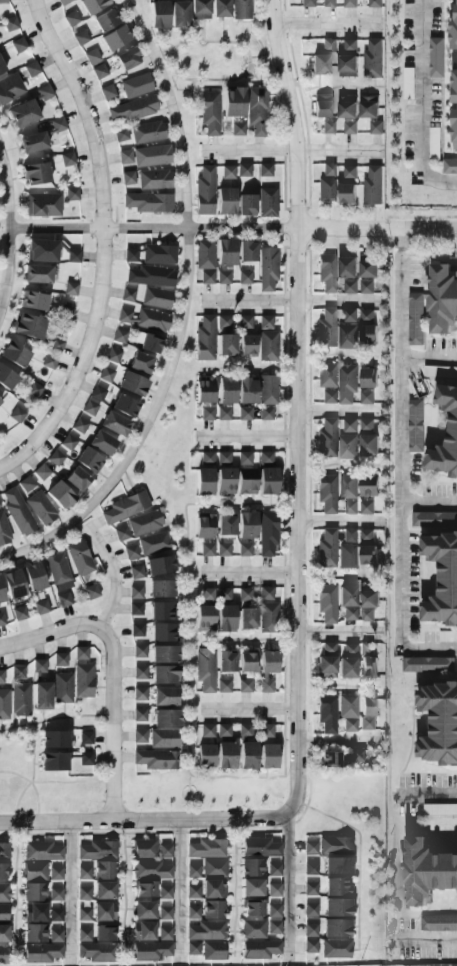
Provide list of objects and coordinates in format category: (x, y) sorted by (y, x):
building: (4, 0)
building: (62, 1)
building: (307, 3)
building: (328, 3)
building: (349, 3)
building: (374, 3)
building: (93, 5)
building: (220, 8)
building: (200, 9)
building: (241, 9)
building: (159, 14)
building: (179, 14)
building: (71, 18)
building: (105, 20)
road: (323, 24)
building: (455, 25)
building: (80, 37)
building: (115, 38)
building: (328, 44)
building: (349, 44)
building: (18, 45)
road: (172, 50)
building: (92, 56)
building: (435, 57)
building: (372, 58)
building: (127, 59)
building: (319, 64)
building: (347, 65)
building: (1, 68)
building: (31, 69)
building: (99, 71)
building: (407, 83)
building: (136, 85)
road: (334, 86)
building: (10, 88)
building: (107, 92)
building: (43, 93)
building: (347, 97)
building: (234, 102)
road: (418, 105)
building: (322, 106)
building: (368, 106)
building: (132, 109)
building: (347, 109)
building: (256, 111)
building: (455, 111)
building: (210, 112)
building: (23, 114)
building: (54, 125)
building: (376, 126)
building: (328, 127)
building: (350, 127)
building: (237, 128)
building: (147, 132)
building: (120, 134)
building: (33, 142)
building: (433, 146)
road: (288, 151)
building: (125, 156)
building: (152, 156)
building: (67, 159)
building: (449, 165)
building: (329, 169)
building: (244, 170)
building: (265, 170)
building: (228, 172)
building: (36, 173)
building: (128, 177)
building: (154, 179)
building: (347, 185)
building: (372, 185)
building: (327, 189)
building: (205, 191)
building: (72, 193)
building: (226, 201)
building: (148, 202)
building: (267, 202)
building: (43, 205)
building: (247, 205)
road: (232, 227)
road: (3, 228)
road: (2, 234)
road: (8, 236)
road: (400, 237)
road: (102, 243)
building: (42, 250)
building: (248, 251)
building: (226, 252)
building: (159, 254)
building: (204, 254)
building: (131, 255)
building: (74, 256)
building: (347, 267)
building: (267, 268)
building: (368, 268)
building: (327, 273)
building: (38, 274)
building: (150, 276)
building: (207, 277)
building: (224, 277)
building: (244, 277)
building: (349, 286)
building: (366, 286)
building: (70, 288)
building: (127, 295)
building: (444, 297)
building: (156, 298)
road: (292, 298)
building: (33, 300)
building: (67, 311)
road: (182, 311)
building: (349, 315)
building: (124, 316)
building: (366, 316)
building: (415, 318)
building: (152, 320)
building: (223, 321)
building: (244, 322)
building: (265, 322)
building: (28, 326)
building: (326, 328)
building: (368, 334)
building: (119, 336)
building: (347, 336)
building: (205, 339)
building: (150, 343)
building: (226, 344)
building: (56, 345)
building: (247, 345)
building: (268, 345)
building: (14, 354)
road: (337, 354)
building: (113, 355)
road: (428, 356)
building: (49, 362)
building: (141, 363)
road: (246, 367)
building: (440, 371)
building: (106, 375)
building: (326, 375)
building: (7, 377)
building: (368, 377)
building: (347, 382)
building: (132, 384)
building: (205, 389)
building: (268, 389)
building: (33, 390)
building: (226, 390)
building: (247, 391)
building: (328, 396)
building: (366, 396)
building: (93, 400)
building: (0, 401)
building: (124, 405)
road: (298, 407)
road: (340, 410)
building: (244, 412)
building: (207, 413)
building: (223, 413)
building: (265, 413)
building: (17, 414)
building: (115, 423)
building: (366, 423)
building: (415, 424)
building: (79, 425)
building: (350, 425)
building: (453, 427)
road: (246, 435)
building: (326, 439)
building: (68, 442)
building: (102, 443)
building: (369, 444)
building: (347, 446)
building: (266, 456)
building: (223, 457)
building: (55, 458)
building: (245, 458)
building: (207, 459)
building: (89, 460)
road: (337, 464)
building: (41, 472)
road: (400, 475)
building: (77, 479)
building: (368, 480)
building: (226, 481)
building: (247, 481)
building: (268, 481)
building: (204, 482)
building: (26, 484)
building: (347, 486)
building: (368, 490)
building: (326, 493)
building: (60, 495)
road: (428, 501)
building: (349, 506)
building: (366, 506)
building: (126, 507)
building: (41, 508)
building: (18, 512)
building: (433, 519)
building: (145, 522)
road: (337, 523)
building: (226, 524)
building: (247, 525)
building: (205, 527)
building: (4, 530)
building: (122, 533)
building: (267, 533)
building: (349, 535)
building: (366, 535)
building: (153, 543)
building: (207, 549)
building: (223, 549)
building: (244, 549)
building: (326, 549)
road: (284, 551)
building: (131, 552)
building: (369, 555)
building: (347, 556)
building: (80, 558)
building: (160, 565)
building: (58, 571)
building: (136, 572)
road: (249, 573)
road: (112, 575)
building: (34, 576)
road: (339, 577)
building: (442, 577)
building: (13, 584)
building: (161, 588)
road: (186, 590)
building: (1, 592)
building: (91, 592)
building: (135, 592)
building: (207, 593)
building: (224, 593)
building: (266, 593)
building: (244, 594)
building: (63, 599)
building: (347, 602)
building: (327, 603)
building: (368, 604)
building: (41, 606)
building: (135, 609)
building: (162, 611)
building: (19, 613)
building: (268, 617)
building: (205, 618)
building: (226, 618)
building: (247, 618)
building: (1, 619)
road: (340, 629)
building: (137, 630)
building: (164, 632)
road: (44, 633)
building: (447, 635)
road: (243, 639)
building: (139, 651)
building: (81, 653)
building: (165, 654)
building: (60, 659)
building: (368, 660)
building: (226, 661)
building: (327, 661)
building: (348, 661)
building: (247, 662)
building: (427, 663)
building: (39, 666)
building: (205, 669)
building: (267, 669)
building: (18, 672)
building: (140, 672)
building: (165, 674)
building: (1, 676)
building: (83, 680)
building: (245, 685)
building: (224, 686)
building: (63, 688)
building: (140, 694)
building: (42, 695)
building: (165, 696)
building: (20, 699)
building: (4, 704)
road: (252, 710)
building: (348, 711)
building: (327, 713)
building: (367, 713)
building: (140, 714)
road: (55, 717)
road: (112, 717)
building: (167, 717)
building: (440, 722)
building: (244, 729)
building: (207, 730)
building: (224, 730)
building: (267, 730)
building: (140, 736)
building: (85, 737)
building: (164, 738)
building: (54, 739)
road: (340, 741)
building: (226, 754)
building: (205, 755)
building: (248, 755)
building: (268, 756)
building: (352, 756)
building: (85, 758)
building: (330, 758)
building: (156, 759)
building: (54, 762)
road: (54, 782)
road: (188, 788)
road: (425, 794)
road: (37, 801)
building: (439, 808)
road: (188, 810)
road: (144, 821)
road: (13, 839)
building: (335, 845)
building: (260, 847)
building: (311, 847)
building: (207, 848)
building: (144, 849)
building: (98, 850)
building: (42, 851)
building: (165, 851)
building: (4, 852)
road: (359, 857)
building: (338, 865)
building: (252, 867)
building: (214, 868)
building: (274, 869)
building: (310, 869)
building: (105, 870)
building: (151, 870)
building: (3, 871)
building: (34, 871)
building: (193, 871)
building: (427, 871)
building: (56, 873)
building: (84, 873)
building: (252, 887)
building: (338, 887)
road: (233, 888)
road: (288, 888)
building: (214, 889)
building: (310, 889)
building: (105, 890)
road: (124, 890)
building: (144, 890)
building: (274, 890)
road: (70, 891)
road: (178, 891)
building: (4, 892)
building: (34, 892)
building: (165, 892)
building: (193, 892)
building: (84, 893)
building: (56, 894)
building: (337, 907)
building: (253, 908)
building: (213, 909)
building: (310, 909)
building: (144, 910)
building: (274, 910)
building: (104, 911)
building: (35, 912)
building: (193, 912)
building: (4, 913)
building: (165, 913)
building: (84, 914)
building: (56, 915)
building: (437, 923)
building: (274, 927)
building: (336, 928)
building: (253, 929)
building: (310, 930)
building: (143, 931)
building: (207, 931)
building: (4, 933)
building: (35, 933)
building: (104, 933)
building: (165, 933)
building: (84, 934)
building: (56, 935)
road: (425, 938)
building: (310, 946)
building: (193, 948)
building: (260, 948)
building: (336, 948)
building: (152, 950)
building: (214, 950)
building: (97, 951)
building: (42, 952)
building: (3, 954)

